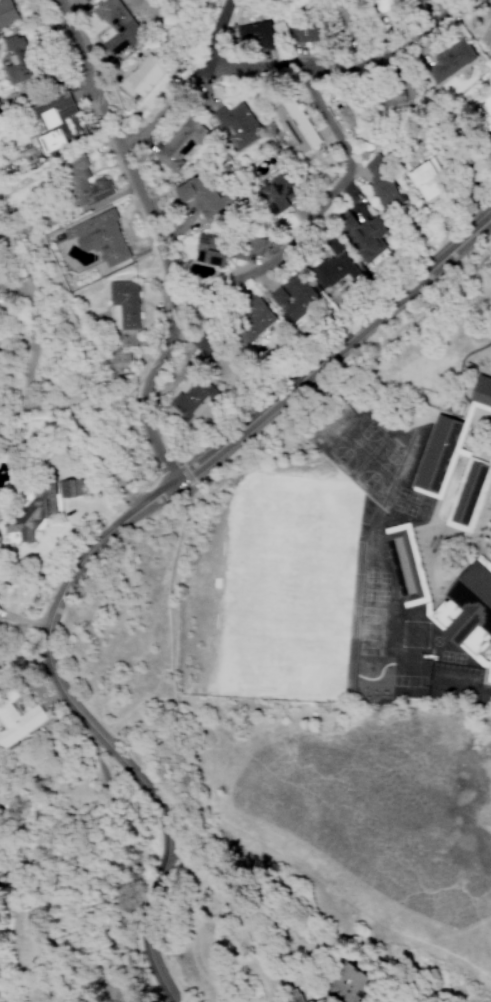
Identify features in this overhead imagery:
building: (85, 1)
building: (6, 14)
building: (116, 27)
building: (301, 32)
building: (255, 34)
building: (449, 62)
road: (347, 63)
building: (144, 74)
road: (187, 83)
building: (484, 108)
building: (54, 122)
building: (236, 124)
building: (294, 126)
building: (179, 144)
building: (455, 151)
building: (379, 180)
building: (426, 180)
building: (82, 182)
building: (275, 191)
building: (202, 195)
road: (313, 214)
building: (362, 236)
road: (156, 237)
building: (99, 238)
building: (209, 249)
building: (247, 249)
building: (332, 268)
building: (292, 297)
building: (123, 304)
building: (249, 322)
road: (29, 323)
building: (203, 343)
road: (316, 363)
building: (481, 393)
building: (466, 414)
building: (328, 425)
road: (85, 429)
building: (461, 453)
building: (437, 456)
building: (489, 459)
road: (191, 480)
building: (71, 488)
building: (467, 495)
building: (30, 514)
building: (462, 547)
road: (172, 563)
building: (404, 564)
park: (287, 587)
building: (426, 608)
building: (466, 609)
road: (19, 620)
building: (479, 661)
building: (488, 670)
road: (460, 687)
building: (15, 719)
road: (96, 741)
park: (342, 821)
building: (346, 985)
building: (290, 997)

